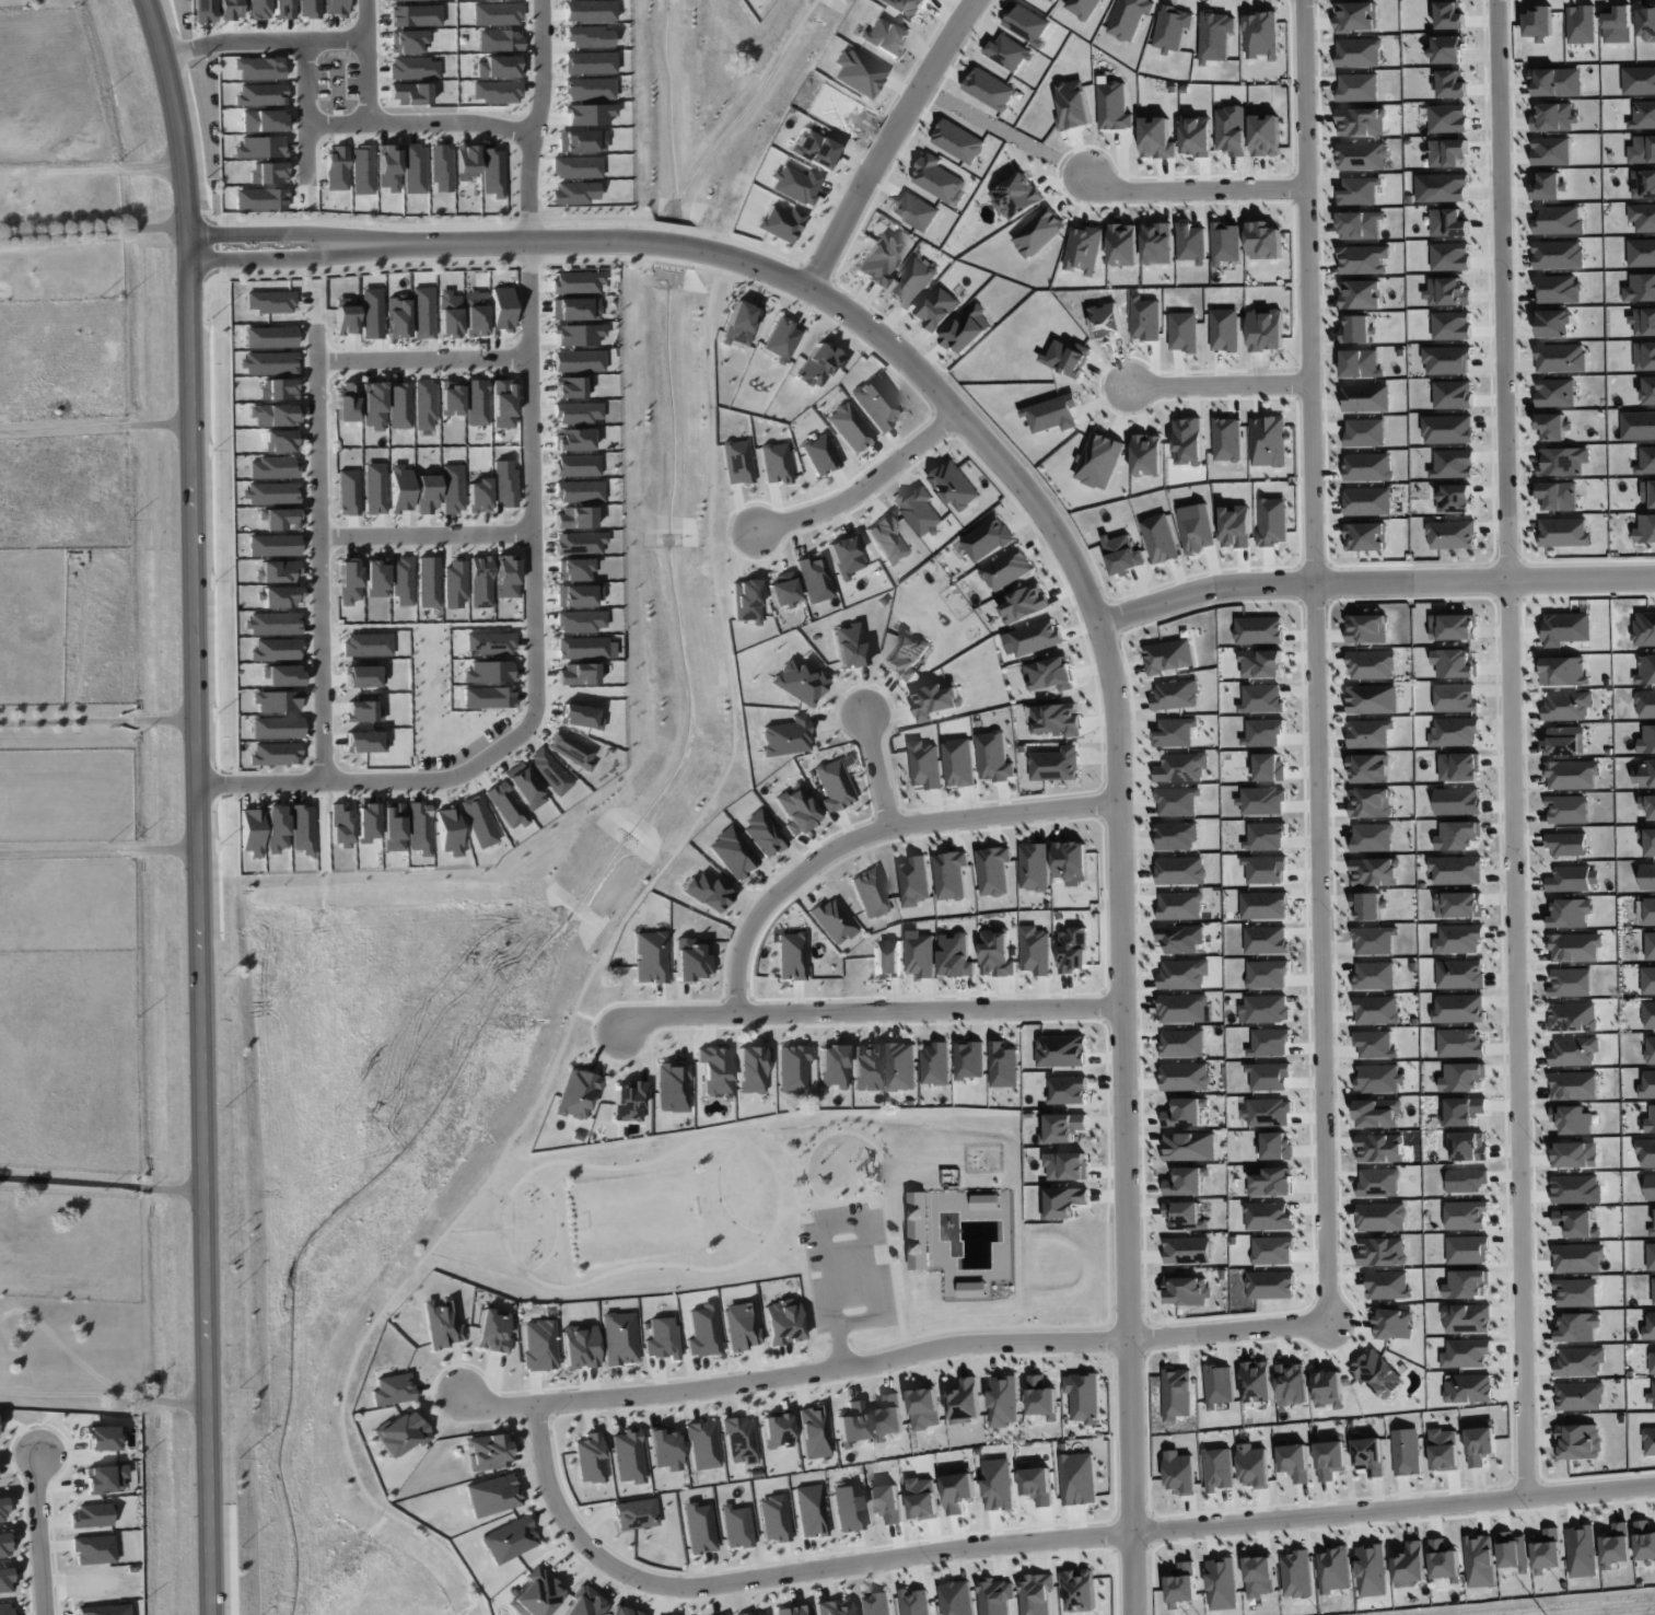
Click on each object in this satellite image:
building: (1054, 0)
building: (908, 7)
building: (1083, 8)
building: (1129, 18)
building: (1646, 23)
building: (1582, 24)
building: (1617, 24)
building: (1173, 27)
building: (1261, 35)
building: (885, 36)
building: (1215, 36)
road: (264, 40)
building: (1447, 50)
building: (1009, 53)
building: (1359, 53)
road: (368, 63)
building: (1639, 80)
building: (1557, 82)
building: (1452, 84)
building: (1357, 88)
building: (990, 89)
building: (1073, 105)
building: (1112, 105)
road: (300, 112)
building: (1643, 116)
building: (1554, 117)
building: (1447, 118)
building: (1361, 121)
road: (418, 127)
building: (1232, 130)
building: (1266, 135)
building: (1197, 136)
building: (1157, 138)
road: (890, 141)
building: (958, 141)
building: (816, 149)
building: (1642, 150)
building: (1550, 151)
building: (1447, 152)
building: (1362, 156)
road: (91, 169)
building: (937, 178)
building: (1643, 184)
building: (796, 185)
building: (1549, 186)
building: (1445, 187)
road: (1192, 188)
building: (1359, 190)
building: (1017, 196)
building: (916, 211)
building: (1643, 217)
building: (1558, 220)
building: (1448, 222)
building: (781, 223)
building: (1361, 225)
road: (93, 231)
road: (292, 232)
building: (1038, 232)
building: (1263, 241)
building: (1192, 243)
building: (1226, 243)
building: (1123, 244)
building: (1084, 249)
building: (1641, 253)
building: (1558, 254)
building: (1449, 256)
road: (293, 257)
building: (879, 260)
building: (576, 281)
building: (1640, 288)
building: (1557, 289)
building: (1447, 292)
building: (1361, 294)
building: (271, 301)
building: (939, 307)
building: (574, 309)
building: (423, 312)
building: (475, 313)
building: (447, 314)
building: (397, 316)
building: (1643, 321)
building: (500, 323)
building: (741, 324)
building: (1554, 324)
building: (1452, 325)
building: (967, 329)
building: (1225, 329)
building: (1268, 329)
building: (1356, 329)
building: (1184, 332)
building: (578, 334)
building: (781, 339)
road: (423, 352)
building: (1645, 356)
building: (1067, 358)
building: (1561, 358)
building: (1447, 360)
building: (269, 363)
building: (1360, 363)
building: (819, 364)
building: (570, 386)
road: (1219, 387)
building: (1648, 391)
building: (1555, 393)
building: (1453, 395)
building: (451, 397)
building: (1365, 397)
building: (347, 402)
building: (477, 402)
building: (502, 403)
building: (876, 403)
building: (424, 404)
building: (373, 406)
building: (399, 406)
building: (576, 413)
building: (1052, 414)
building: (275, 415)
building: (1553, 426)
road: (94, 427)
building: (850, 427)
building: (1447, 429)
building: (1364, 432)
building: (1227, 439)
building: (281, 441)
building: (1188, 441)
building: (1268, 441)
building: (819, 454)
building: (1147, 455)
building: (1099, 461)
building: (1562, 461)
building: (1646, 461)
building: (737, 462)
building: (776, 463)
building: (1453, 464)
building: (576, 465)
building: (1367, 467)
road: (864, 487)
building: (453, 488)
building: (580, 491)
building: (1653, 493)
building: (427, 495)
building: (479, 496)
building: (1558, 496)
building: (1455, 498)
building: (1367, 501)
building: (921, 511)
building: (574, 518)
building: (279, 519)
building: (1274, 521)
building: (1197, 527)
road: (427, 528)
building: (1645, 528)
building: (1563, 532)
building: (1450, 535)
road: (536, 536)
building: (888, 537)
building: (988, 538)
building: (1159, 538)
building: (580, 543)
road: (317, 554)
building: (847, 554)
building: (1122, 555)
building: (573, 569)
building: (1007, 569)
building: (505, 576)
building: (376, 577)
building: (815, 578)
building: (349, 580)
building: (403, 580)
building: (479, 581)
building: (427, 582)
road: (1373, 583)
building: (453, 584)
building: (782, 590)
building: (578, 595)
building: (281, 596)
building: (746, 601)
building: (1024, 603)
building: (582, 620)
building: (1453, 627)
building: (1565, 628)
building: (1367, 629)
building: (1644, 629)
building: (1258, 630)
building: (1036, 637)
building: (491, 642)
building: (849, 646)
building: (582, 647)
building: (277, 650)
building: (906, 655)
building: (1169, 655)
road: (1314, 658)
building: (1261, 663)
building: (1455, 663)
building: (1372, 665)
building: (1646, 671)
building: (489, 672)
building: (1564, 672)
building: (578, 674)
building: (1050, 674)
building: (364, 675)
building: (800, 682)
road: (1111, 683)
building: (1176, 695)
building: (489, 697)
building: (1261, 698)
building: (1455, 698)
building: (935, 699)
building: (1373, 699)
building: (1645, 704)
building: (1567, 706)
building: (579, 717)
building: (1056, 719)
road: (96, 721)
building: (1175, 732)
building: (1263, 732)
building: (1454, 732)
building: (1370, 733)
building: (786, 736)
building: (1647, 740)
building: (364, 741)
building: (1564, 741)
road: (1513, 747)
building: (571, 750)
building: (994, 757)
building: (958, 763)
building: (1056, 764)
building: (925, 765)
building: (1182, 767)
building: (1269, 767)
building: (1368, 768)
road: (877, 770)
building: (549, 771)
building: (1571, 774)
building: (1644, 776)
building: (834, 785)
building: (524, 787)
building: (1177, 801)
building: (1262, 801)
building: (1371, 802)
road: (195, 804)
building: (505, 804)
building: (1647, 805)
building: (796, 810)
building: (1567, 810)
building: (478, 821)
building: (368, 822)
building: (393, 826)
building: (419, 827)
building: (446, 829)
road: (873, 833)
building: (762, 834)
building: (1266, 835)
building: (1457, 835)
building: (1177, 836)
building: (1372, 837)
building: (1648, 840)
road: (98, 850)
building: (733, 852)
building: (1072, 861)
building: (1034, 867)
building: (1264, 869)
building: (993, 870)
building: (1180, 870)
building: (1456, 870)
building: (1375, 872)
building: (949, 875)
building: (1647, 876)
building: (914, 881)
building: (708, 892)
building: (1263, 905)
building: (1458, 905)
building: (1180, 906)
building: (1367, 906)
building: (1650, 910)
building: (1570, 914)
building: (832, 920)
building: (1181, 939)
building: (1458, 939)
building: (1266, 940)
building: (1374, 940)
building: (1650, 945)
building: (1574, 946)
building: (1073, 950)
building: (1036, 951)
building: (920, 953)
building: (997, 953)
building: (792, 955)
building: (651, 956)
building: (956, 956)
building: (691, 958)
building: (1184, 974)
building: (1267, 974)
building: (1459, 974)
road: (590, 975)
building: (1374, 975)
building: (1647, 980)
building: (1570, 983)
building: (1182, 1008)
building: (1266, 1009)
building: (1458, 1009)
building: (1376, 1010)
road: (867, 1011)
building: (1648, 1014)
building: (1572, 1016)
building: (1269, 1042)
building: (1182, 1043)
building: (1460, 1043)
building: (1375, 1044)
building: (1650, 1049)
building: (1061, 1050)
building: (1574, 1052)
building: (969, 1059)
building: (935, 1064)
building: (832, 1065)
building: (1003, 1065)
building: (866, 1067)
building: (900, 1067)
building: (751, 1068)
building: (792, 1068)
building: (715, 1069)
building: (1269, 1076)
building: (1185, 1077)
building: (1462, 1077)
building: (1377, 1079)
building: (1573, 1085)
building: (1647, 1085)
building: (673, 1087)
building: (1068, 1090)
building: (578, 1093)
building: (629, 1100)
building: (1185, 1112)
building: (1268, 1112)
building: (1377, 1113)
building: (1572, 1119)
building: (1651, 1122)
building: (1064, 1127)
building: (1275, 1146)
building: (1189, 1147)
building: (1379, 1148)
building: (1646, 1152)
building: (1574, 1154)
park: (842, 1165)
building: (1067, 1166)
building: (1466, 1181)
building: (1187, 1182)
building: (1272, 1182)
building: (1378, 1182)
road: (102, 1185)
building: (1650, 1187)
building: (987, 1201)
building: (1063, 1202)
park: (628, 1213)
building: (1465, 1215)
building: (1185, 1216)
building: (1268, 1217)
building: (1380, 1217)
building: (1576, 1223)
road: (841, 1224)
park: (531, 1228)
building: (1652, 1231)
park: (967, 1244)
building: (1272, 1250)
building: (1467, 1250)
building: (1188, 1251)
building: (1382, 1252)
building: (1651, 1256)
building: (1577, 1257)
building: (1270, 1285)
building: (1466, 1285)
building: (972, 1289)
building: (1187, 1290)
building: (1653, 1290)
building: (1576, 1292)
building: (1466, 1318)
building: (782, 1321)
building: (442, 1323)
building: (1394, 1324)
building: (742, 1325)
building: (1577, 1326)
building: (1650, 1327)
building: (492, 1331)
building: (703, 1331)
building: (619, 1337)
building: (662, 1338)
building: (539, 1345)
building: (580, 1346)
building: (1466, 1352)
road: (891, 1358)
building: (1580, 1361)
building: (1652, 1362)
building: (1377, 1373)
building: (1258, 1381)
building: (1293, 1384)
building: (1219, 1385)
building: (1468, 1389)
building: (393, 1390)
road: (103, 1392)
building: (1177, 1394)
building: (1580, 1396)
building: (1042, 1397)
building: (1084, 1397)
building: (1651, 1398)
building: (1003, 1401)
building: (965, 1402)
building: (924, 1408)
building: (889, 1417)
building: (851, 1424)
building: (776, 1429)
building: (814, 1431)
building: (401, 1433)
building: (105, 1438)
building: (739, 1440)
building: (1578, 1441)
building: (1648, 1441)
building: (1480, 1443)
building: (703, 1444)
building: (664, 1449)
building: (1444, 1450)
building: (488, 1451)
building: (1406, 1452)
building: (628, 1455)
building: (1368, 1455)
building: (1330, 1457)
building: (590, 1459)
building: (1295, 1462)
building: (1254, 1466)
building: (1219, 1469)
building: (1180, 1472)
building: (1079, 1478)
building: (998, 1485)
building: (1038, 1485)
building: (958, 1491)
building: (493, 1495)
building: (923, 1498)
building: (887, 1503)
building: (848, 1508)
building: (2, 1509)
building: (811, 1510)
building: (636, 1514)
building: (773, 1518)
building: (736, 1526)
building: (699, 1527)
road: (39, 1532)
building: (510, 1540)
road: (1037, 1540)
building: (1644, 1541)
building: (3, 1545)
building: (1616, 1545)
building: (1547, 1550)
building: (1513, 1552)
building: (1582, 1552)
building: (1479, 1560)
building: (1444, 1561)
building: (1410, 1565)
building: (1333, 1569)
building: (1372, 1570)
building: (1296, 1575)
building: (1259, 1576)
building: (4, 1580)
building: (1222, 1583)
building: (1181, 1584)
building: (1080, 1590)
building: (536, 1594)
building: (1036, 1594)
building: (995, 1596)
building: (956, 1597)
building: (585, 1603)
building: (914, 1603)
building: (875, 1604)
building: (835, 1607)
building: (794, 1610)
building: (622, 1611)
building: (757, 1613)

